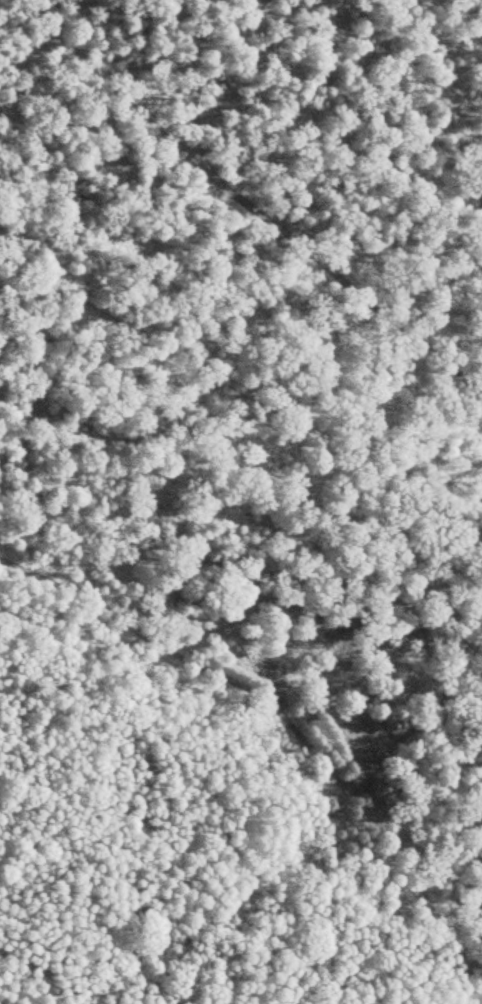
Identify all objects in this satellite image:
road: (246, 203)
road: (283, 717)
road: (475, 959)

